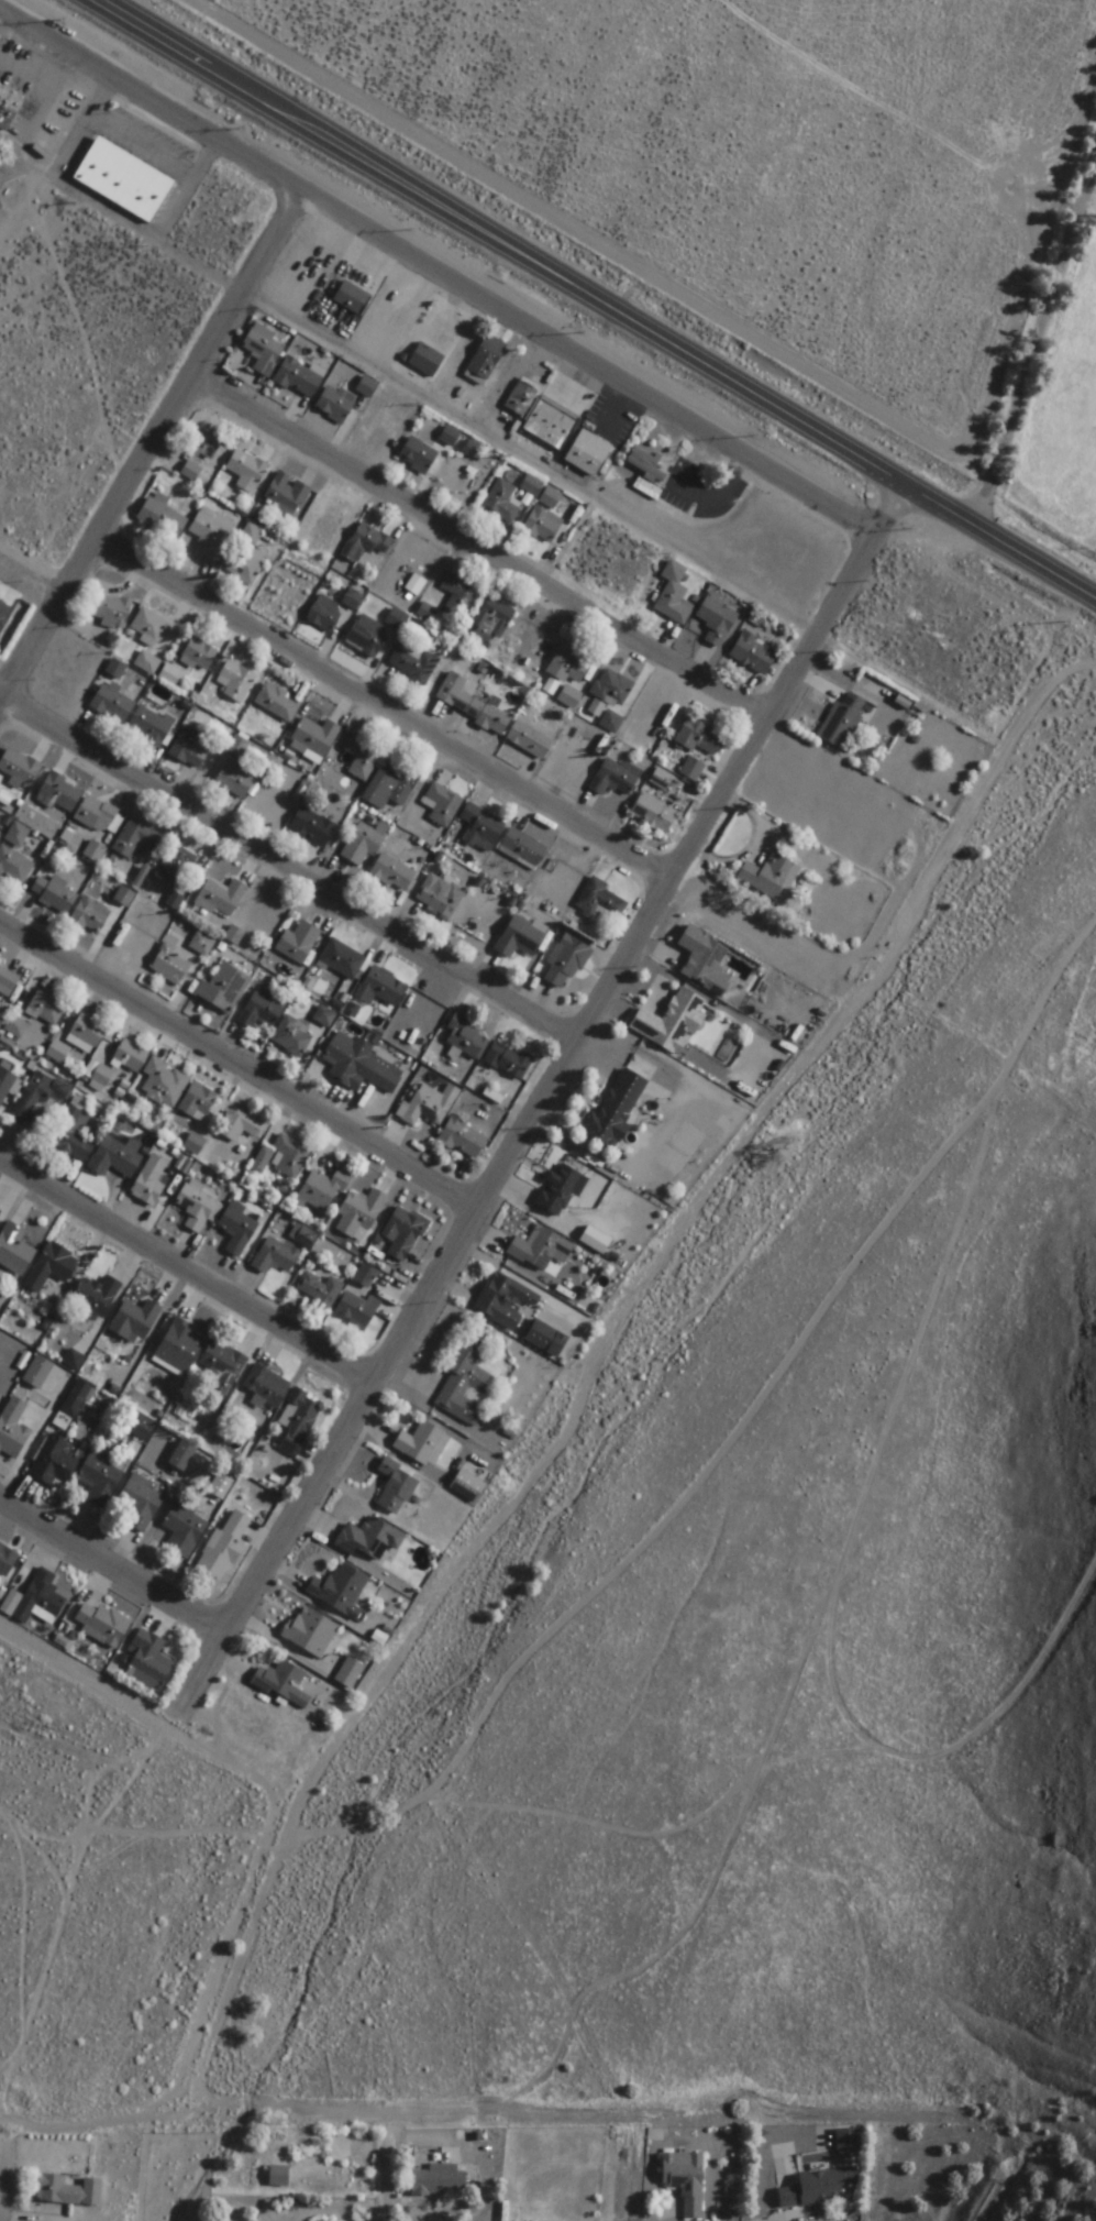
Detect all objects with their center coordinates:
road: (2, 23)
road: (11, 30)
gas station: (0, 40)
road: (3, 43)
building: (15, 113)
road: (103, 123)
building: (124, 180)
road: (3, 189)
road: (585, 235)
road: (41, 270)
road: (439, 276)
road: (1036, 282)
building: (353, 299)
road: (585, 301)
road: (96, 341)
road: (1036, 350)
building: (264, 351)
building: (427, 361)
building: (486, 361)
building: (299, 380)
building: (367, 387)
building: (523, 398)
building: (335, 404)
building: (551, 425)
building: (450, 437)
building: (207, 443)
building: (470, 450)
road: (160, 454)
building: (588, 454)
building: (418, 455)
building: (646, 464)
building: (247, 469)
road: (538, 469)
building: (191, 472)
road: (984, 475)
building: (531, 486)
building: (287, 495)
building: (551, 498)
building: (503, 503)
building: (162, 517)
building: (543, 525)
building: (212, 535)
building: (366, 543)
building: (247, 558)
road: (485, 558)
road: (35, 584)
building: (460, 595)
building: (676, 597)
building: (353, 600)
building: (112, 611)
building: (4, 614)
building: (325, 614)
building: (397, 619)
building: (718, 622)
building: (150, 627)
building: (491, 627)
building: (367, 636)
building: (755, 655)
building: (199, 656)
building: (414, 663)
building: (571, 666)
building: (236, 683)
building: (612, 690)
building: (571, 697)
building: (278, 704)
road: (4, 705)
building: (112, 705)
building: (470, 705)
road: (4, 716)
road: (390, 717)
building: (843, 722)
building: (612, 723)
building: (150, 727)
building: (700, 738)
building: (315, 739)
building: (530, 741)
building: (191, 749)
building: (363, 760)
building: (20, 769)
building: (694, 771)
building: (239, 778)
building: (617, 779)
building: (662, 781)
building: (391, 788)
building: (59, 795)
building: (442, 809)
building: (655, 815)
building: (99, 817)
building: (1, 822)
building: (313, 828)
building: (481, 829)
building: (18, 836)
building: (136, 840)
building: (363, 846)
building: (523, 850)
building: (14, 867)
building: (176, 869)
road: (297, 875)
building: (394, 876)
building: (772, 876)
building: (55, 895)
building: (221, 899)
building: (441, 899)
building: (176, 902)
building: (601, 902)
building: (91, 916)
building: (521, 939)
building: (299, 942)
building: (202, 946)
building: (702, 954)
building: (342, 960)
building: (566, 964)
building: (171, 965)
building: (8, 983)
building: (381, 989)
building: (224, 990)
building: (46, 1007)
building: (263, 1012)
building: (325, 1018)
building: (672, 1021)
building: (16, 1025)
building: (87, 1032)
building: (467, 1038)
building: (294, 1040)
building: (131, 1055)
building: (509, 1062)
road: (571, 1062)
building: (361, 1065)
road: (241, 1074)
building: (164, 1082)
building: (5, 1084)
building: (37, 1096)
building: (199, 1104)
building: (428, 1107)
building: (617, 1108)
building: (237, 1124)
building: (71, 1133)
building: (463, 1141)
building: (283, 1156)
building: (115, 1157)
building: (152, 1179)
building: (323, 1189)
building: (199, 1206)
building: (359, 1213)
building: (239, 1228)
building: (403, 1232)
building: (542, 1247)
building: (14, 1250)
building: (275, 1256)
building: (52, 1266)
road: (190, 1275)
building: (321, 1289)
building: (567, 1291)
building: (95, 1297)
building: (508, 1302)
building: (358, 1310)
building: (135, 1321)
building: (546, 1337)
building: (180, 1346)
building: (222, 1366)
building: (38, 1372)
building: (467, 1378)
building: (266, 1386)
building: (76, 1398)
building: (299, 1421)
building: (13, 1429)
building: (423, 1443)
building: (182, 1455)
building: (54, 1462)
building: (100, 1477)
building: (468, 1485)
building: (397, 1486)
building: (141, 1502)
building: (193, 1519)
building: (372, 1539)
building: (224, 1547)
building: (7, 1559)
road: (107, 1565)
building: (341, 1588)
building: (40, 1599)
building: (101, 1621)
building: (311, 1631)
building: (150, 1660)
building: (351, 1672)
building: (285, 1683)
road: (192, 1689)
road: (75, 1852)
building: (846, 2142)
building: (279, 2175)
building: (317, 2176)
road: (623, 2179)
building: (685, 2179)
building: (438, 2180)
building: (818, 2187)
building: (58, 2191)
road: (384, 2207)

